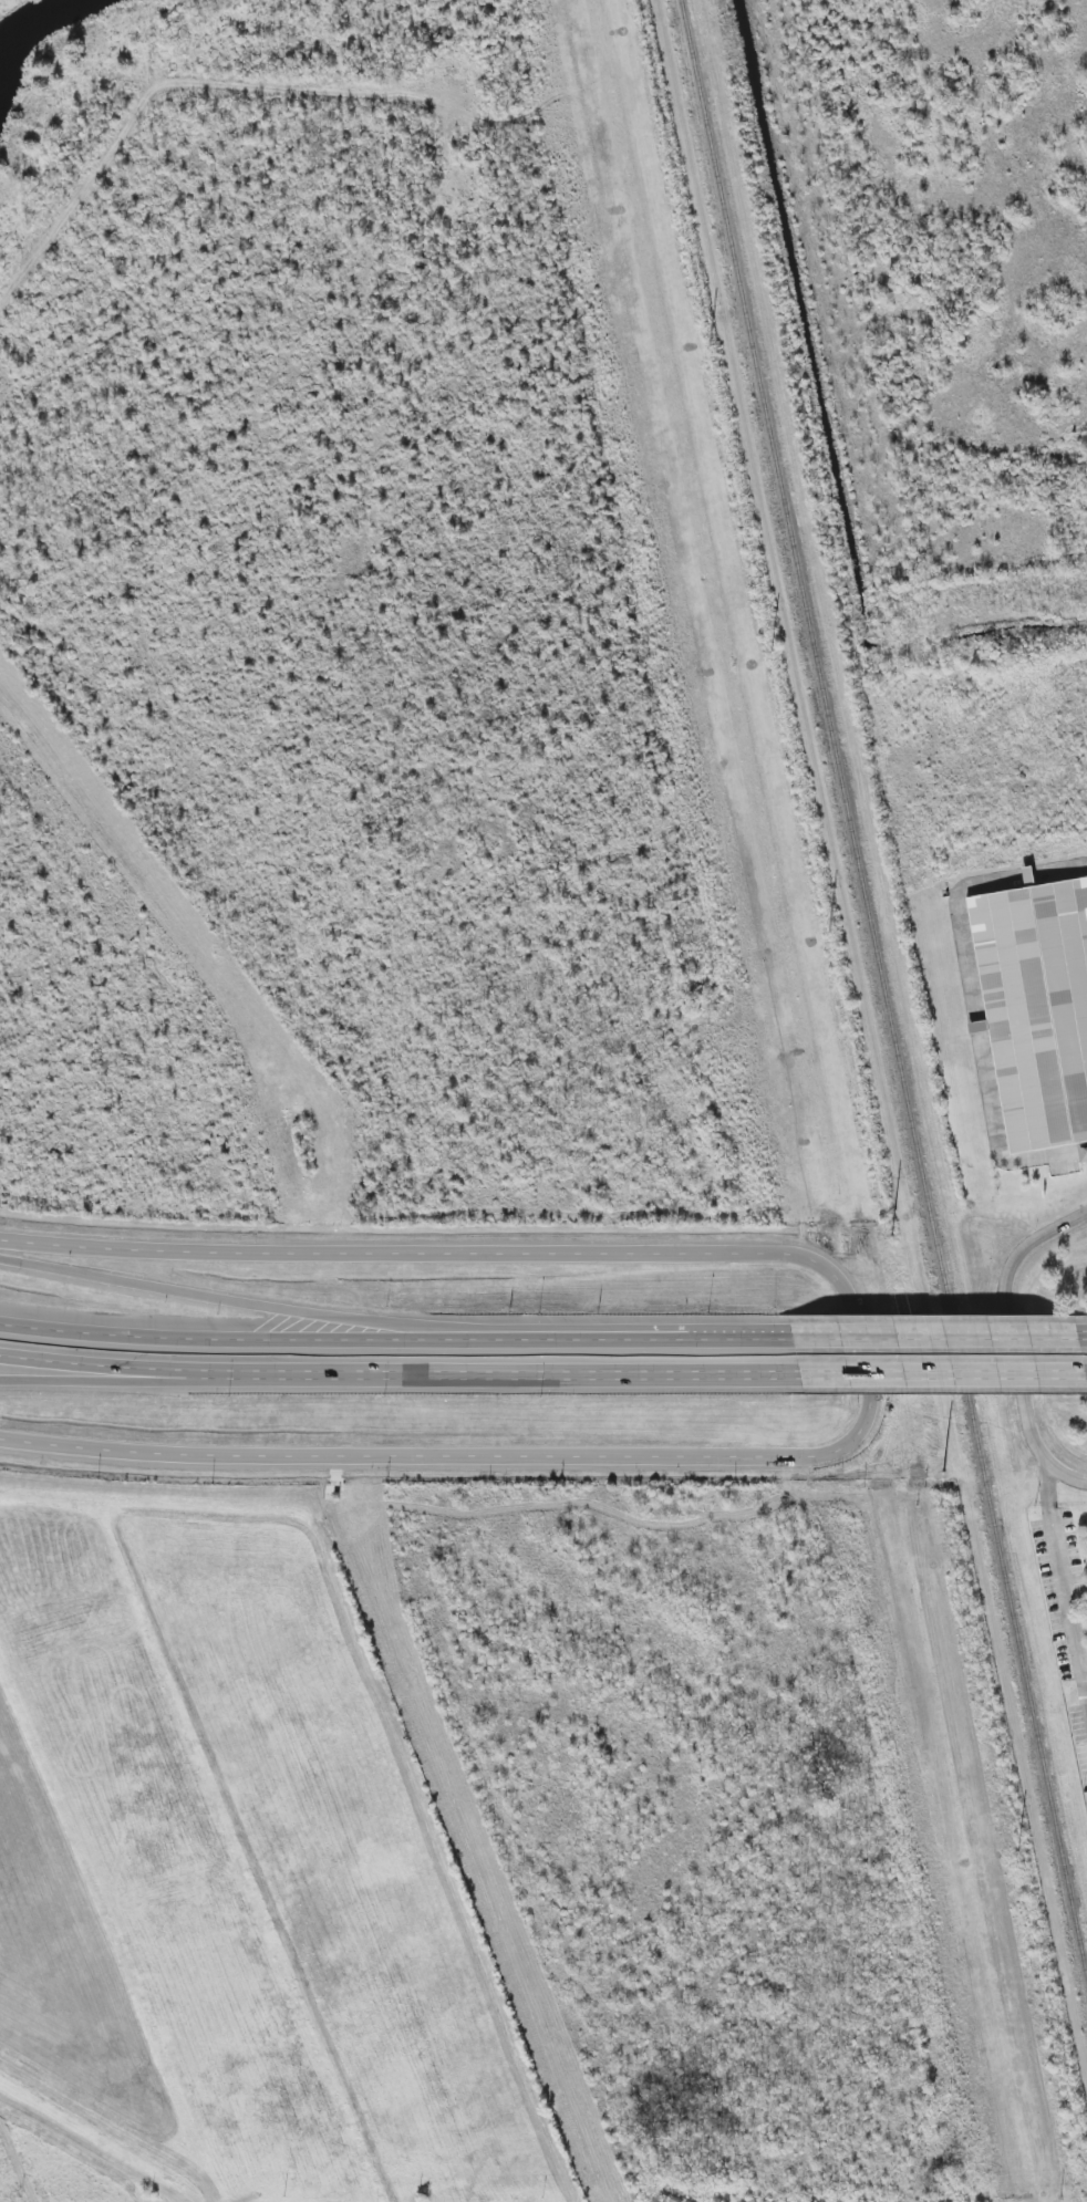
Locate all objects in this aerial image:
railway: (884, 987)
road: (973, 1003)
building: (1036, 1007)
road: (317, 1313)
road: (929, 1338)
road: (708, 1339)
road: (1084, 1339)
road: (1011, 1340)
road: (320, 1346)
road: (867, 1363)
road: (1084, 1372)
road: (929, 1373)
road: (145, 1377)
road: (535, 1379)
road: (146, 1382)
road: (1048, 1485)
road: (1064, 1588)
road: (1084, 1671)
road: (1084, 1687)

